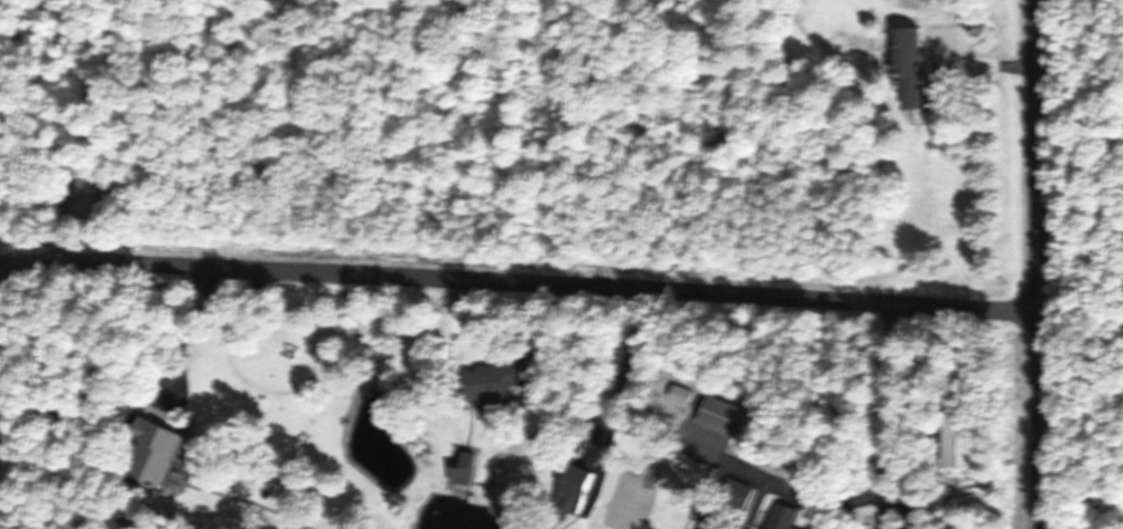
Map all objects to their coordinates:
building: (914, 65)
road: (1039, 263)
road: (515, 282)
building: (497, 384)
building: (722, 416)
building: (961, 440)
building: (155, 450)
road: (878, 478)
building: (580, 490)
building: (784, 517)

